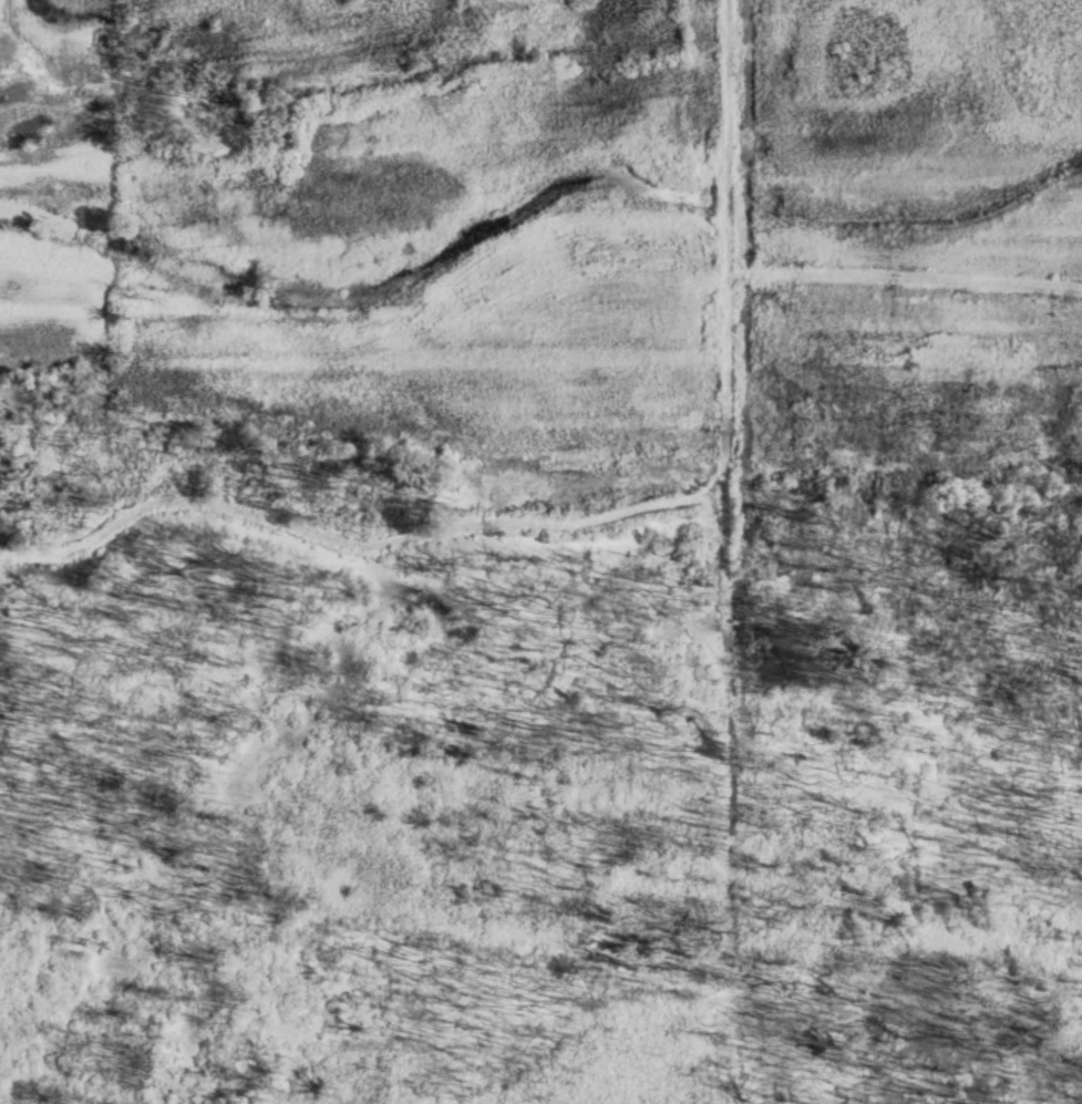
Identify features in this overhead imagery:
road: (586, 526)

